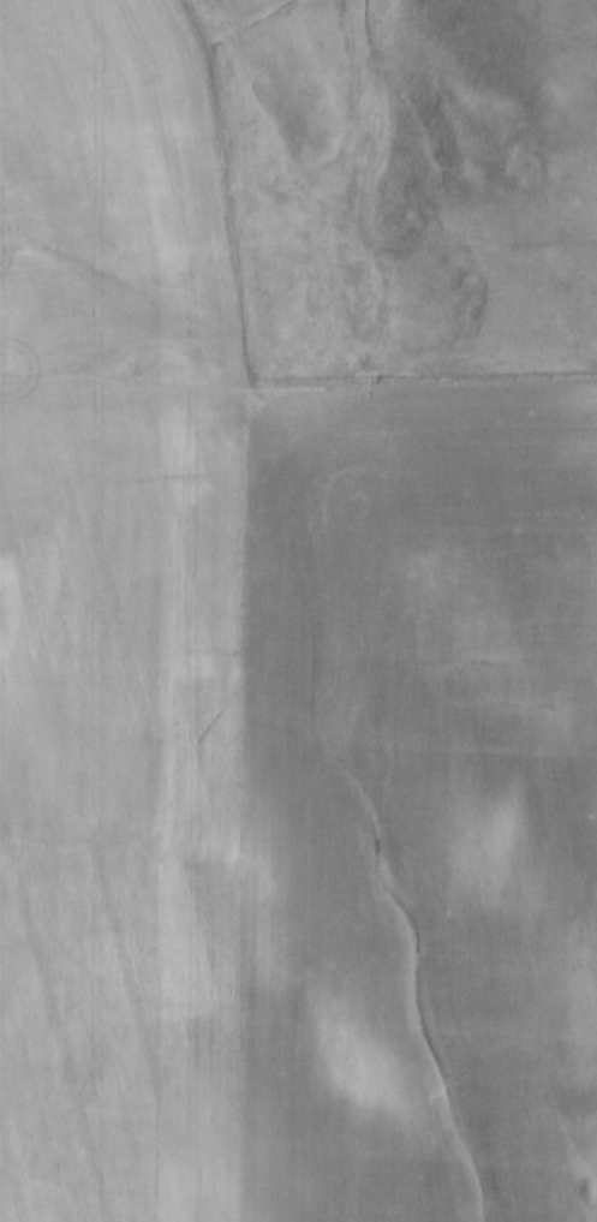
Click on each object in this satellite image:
crop: (271, 713)

